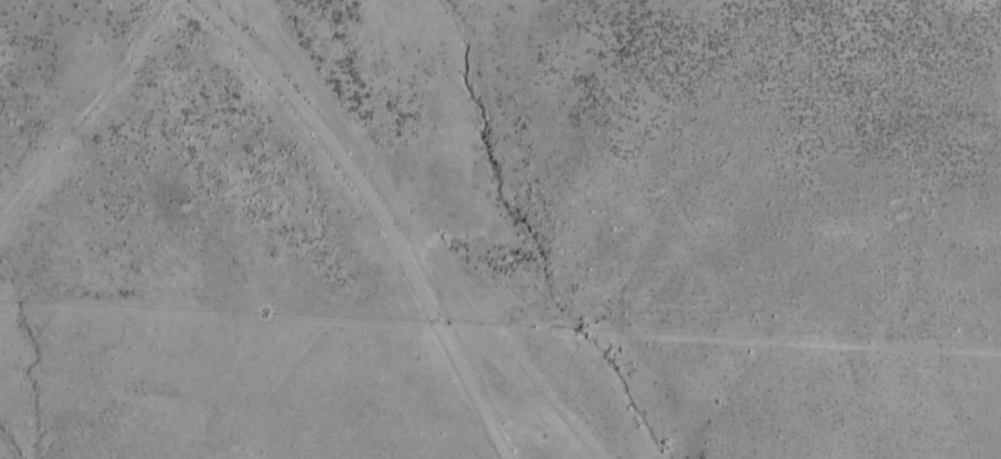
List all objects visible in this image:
building: (22, 17)
road: (311, 214)

